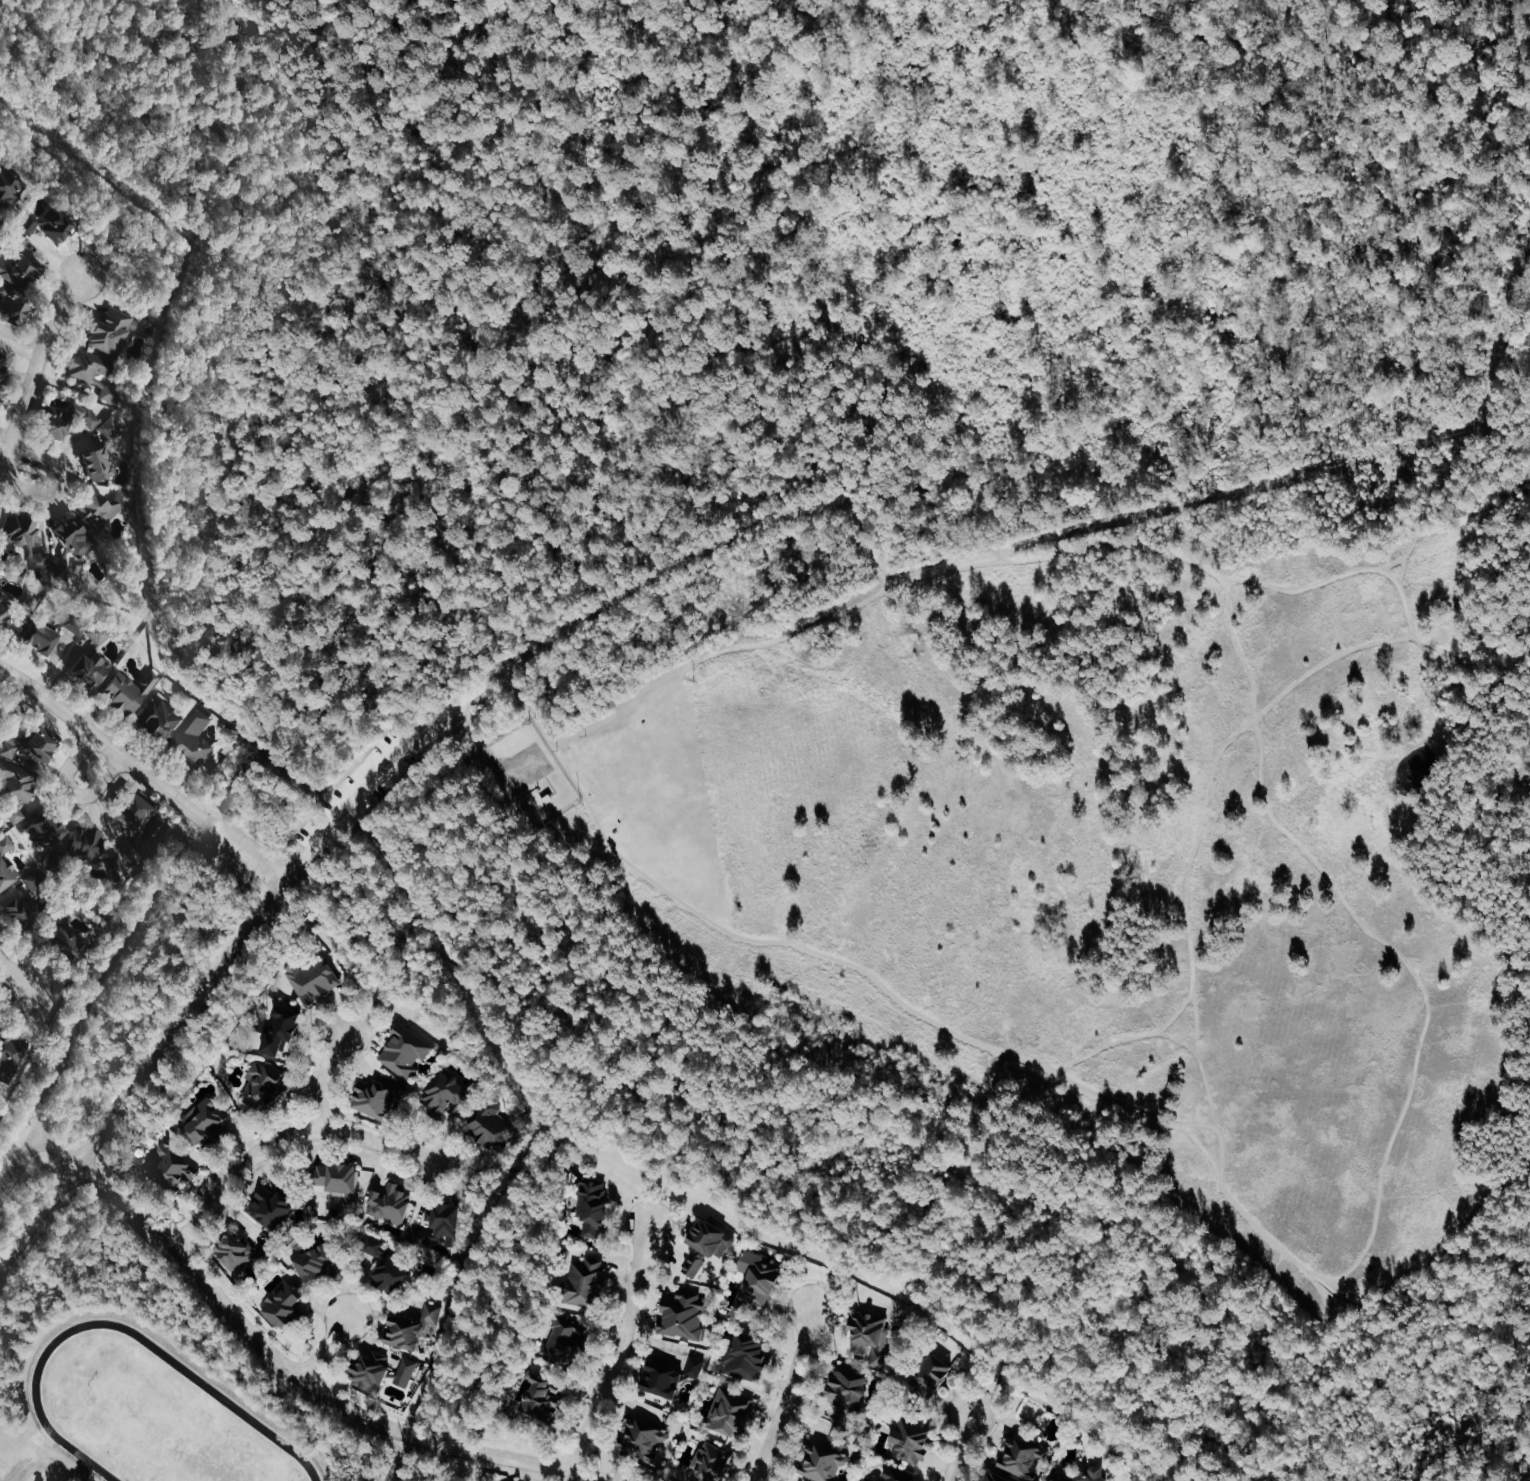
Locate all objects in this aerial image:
road: (1289, 18)
road: (1448, 22)
road: (150, 24)
road: (362, 37)
road: (15, 39)
road: (1484, 75)
road: (219, 82)
road: (312, 91)
road: (263, 112)
road: (256, 127)
road: (279, 152)
road: (313, 175)
road: (1013, 179)
building: (9, 188)
road: (343, 201)
road: (444, 206)
road: (388, 211)
road: (482, 218)
building: (49, 226)
road: (1516, 247)
road: (1214, 258)
building: (21, 264)
road: (732, 277)
road: (536, 285)
building: (14, 306)
building: (110, 331)
building: (2, 362)
road: (925, 365)
road: (34, 374)
building: (81, 375)
building: (0, 391)
road: (956, 417)
building: (67, 421)
road: (1471, 428)
building: (103, 449)
road: (59, 481)
building: (100, 507)
road: (711, 532)
building: (26, 537)
building: (69, 543)
road: (1107, 543)
road: (1395, 563)
road: (1336, 576)
road: (903, 579)
road: (633, 588)
building: (4, 604)
park: (905, 627)
building: (46, 633)
building: (93, 659)
road: (728, 665)
road: (1474, 665)
building: (128, 690)
building: (0, 705)
building: (158, 719)
building: (192, 741)
building: (33, 742)
road: (143, 771)
road: (368, 785)
building: (15, 788)
road: (1209, 788)
road: (74, 790)
parking lot: (363, 798)
building: (133, 821)
building: (47, 836)
building: (95, 849)
building: (6, 861)
building: (27, 900)
road: (276, 904)
road: (1368, 925)
building: (62, 938)
road: (755, 940)
road: (14, 969)
building: (313, 976)
road: (386, 978)
road: (202, 1013)
road: (1177, 1013)
building: (0, 1019)
road: (182, 1022)
building: (280, 1028)
road: (1162, 1036)
building: (404, 1050)
building: (11, 1056)
road: (325, 1076)
building: (263, 1086)
road: (332, 1090)
building: (442, 1093)
building: (376, 1097)
road: (1131, 1106)
building: (486, 1120)
building: (203, 1122)
road: (283, 1140)
road: (60, 1149)
road: (19, 1164)
building: (172, 1167)
road: (485, 1170)
road: (773, 1175)
road: (92, 1176)
road: (669, 1176)
building: (336, 1177)
building: (390, 1202)
building: (272, 1205)
building: (593, 1205)
road: (1241, 1210)
road: (41, 1218)
building: (437, 1223)
road: (181, 1236)
road: (37, 1238)
building: (708, 1242)
building: (239, 1250)
building: (316, 1262)
road: (832, 1262)
building: (387, 1269)
road: (512, 1276)
building: (756, 1278)
road: (812, 1278)
building: (586, 1284)
road: (621, 1289)
building: (282, 1307)
building: (683, 1314)
road: (319, 1326)
road: (1387, 1326)
building: (411, 1327)
building: (870, 1335)
building: (565, 1342)
road: (324, 1346)
road: (621, 1353)
building: (747, 1357)
road: (309, 1368)
building: (383, 1371)
road: (1002, 1371)
building: (670, 1375)
building: (930, 1375)
road: (303, 1378)
road: (1475, 1382)
road: (974, 1385)
building: (848, 1388)
road: (786, 1397)
building: (542, 1398)
track: (227, 1402)
building: (729, 1410)
park: (165, 1427)
building: (642, 1439)
building: (910, 1440)
road: (957, 1448)
road: (1181, 1455)
building: (1021, 1456)
road: (572, 1459)
building: (822, 1462)
building: (709, 1463)
road: (494, 1469)
road: (604, 1472)
building: (1081, 1473)
building: (893, 1474)
building: (995, 1476)
road: (565, 1477)
building: (864, 1479)

